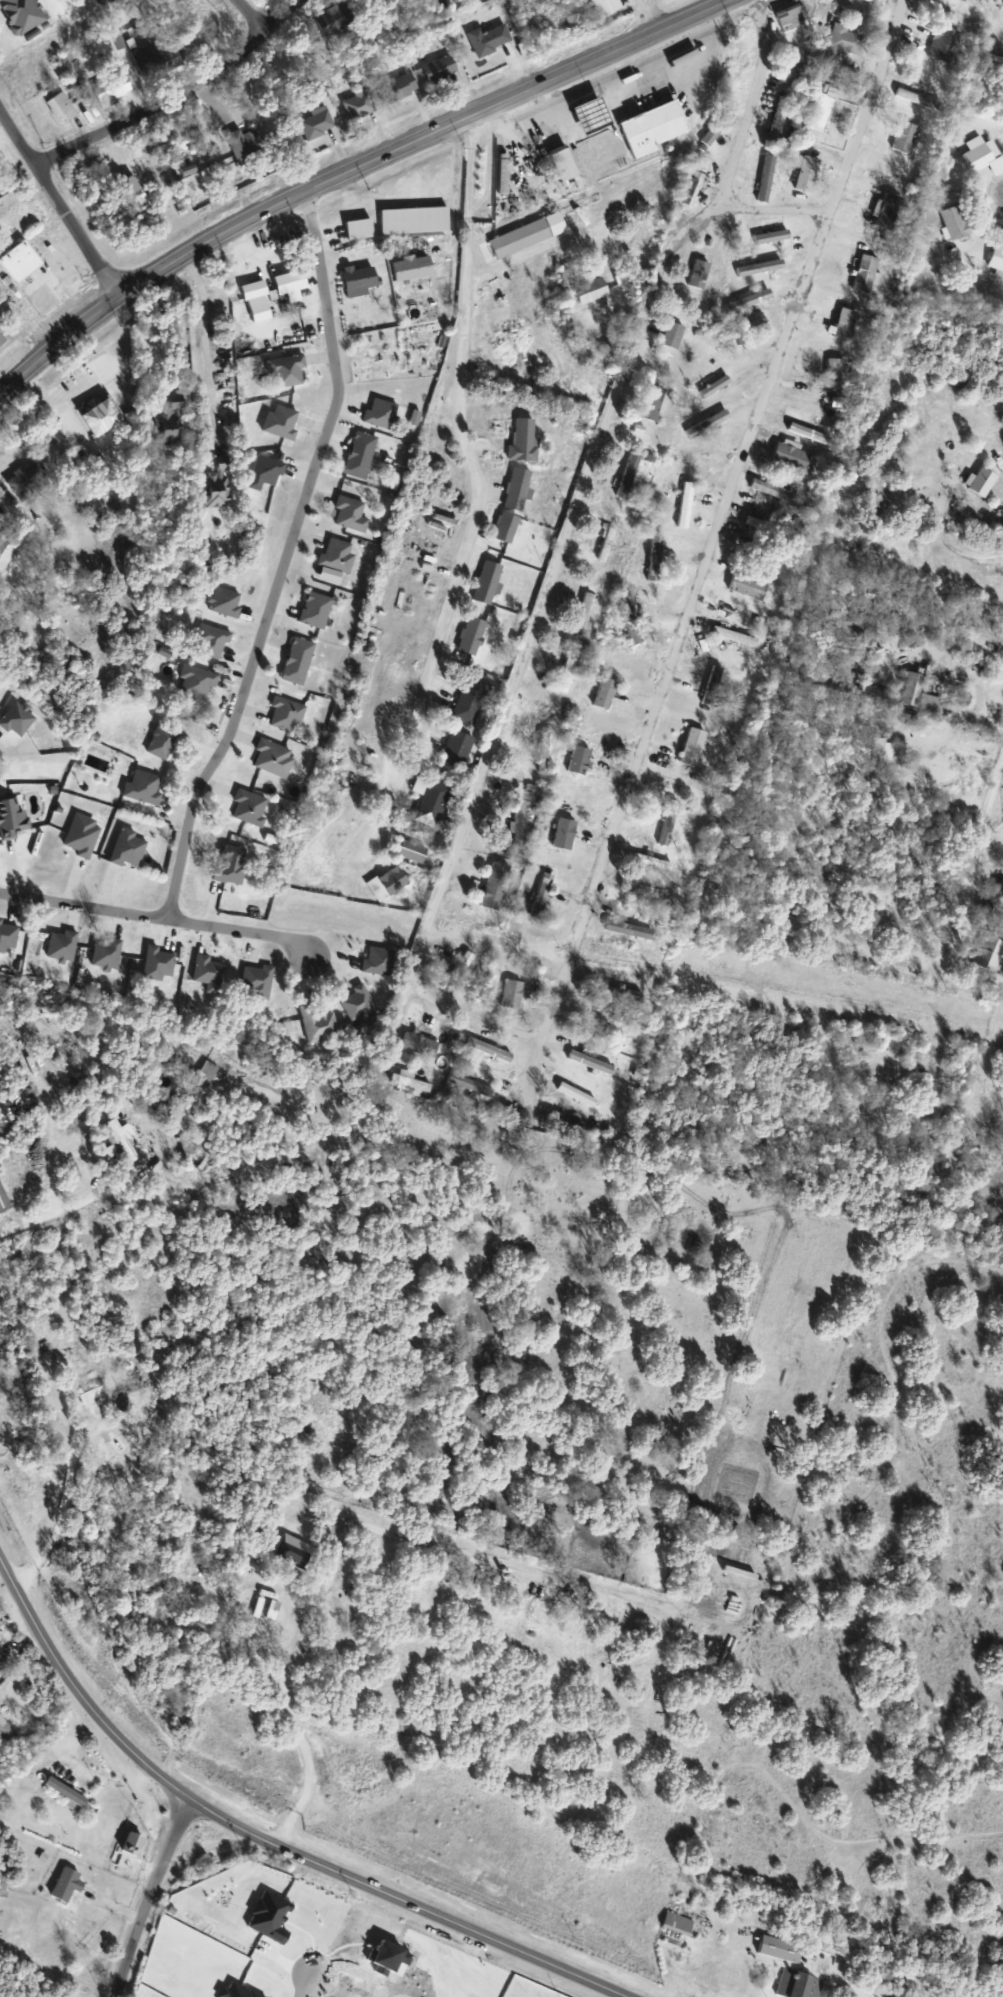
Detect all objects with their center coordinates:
building: (966, 0)
building: (608, 7)
road: (257, 12)
building: (24, 14)
building: (575, 14)
road: (643, 17)
building: (792, 18)
building: (337, 19)
building: (492, 40)
building: (838, 44)
building: (946, 44)
building: (742, 60)
building: (158, 62)
building: (794, 67)
building: (424, 77)
building: (113, 92)
road: (173, 95)
building: (917, 98)
building: (361, 105)
building: (61, 107)
building: (821, 112)
building: (782, 114)
building: (319, 123)
building: (655, 128)
building: (906, 140)
building: (249, 145)
building: (982, 154)
building: (566, 163)
road: (349, 170)
building: (809, 174)
building: (767, 178)
building: (695, 189)
building: (137, 194)
road: (57, 206)
road: (774, 213)
building: (957, 222)
building: (529, 235)
building: (773, 237)
road: (534, 250)
building: (998, 254)
road: (252, 256)
building: (21, 262)
road: (245, 264)
building: (761, 266)
building: (414, 267)
building: (701, 274)
building: (867, 274)
building: (362, 281)
building: (594, 291)
building: (750, 301)
building: (847, 324)
building: (742, 331)
road: (203, 333)
building: (674, 335)
building: (3, 340)
building: (288, 371)
building: (837, 373)
building: (569, 375)
building: (716, 387)
building: (178, 402)
building: (654, 403)
building: (382, 413)
building: (282, 422)
building: (709, 424)
building: (168, 429)
building: (809, 432)
building: (362, 454)
building: (792, 455)
building: (534, 458)
building: (269, 470)
building: (630, 476)
building: (30, 479)
road: (478, 481)
building: (219, 486)
building: (775, 490)
building: (689, 497)
road: (581, 500)
building: (876, 508)
building: (532, 509)
building: (352, 514)
building: (526, 539)
building: (607, 545)
road: (950, 547)
road: (713, 549)
building: (339, 555)
building: (655, 558)
road: (285, 560)
building: (507, 584)
building: (749, 586)
building: (226, 602)
road: (994, 606)
building: (317, 610)
building: (585, 610)
building: (630, 622)
building: (486, 628)
building: (857, 630)
road: (929, 631)
building: (736, 636)
building: (213, 642)
building: (300, 661)
building: (568, 673)
building: (199, 682)
building: (714, 686)
building: (607, 693)
building: (919, 694)
building: (471, 701)
building: (287, 715)
building: (20, 720)
building: (166, 743)
building: (694, 747)
building: (458, 748)
building: (544, 751)
building: (274, 758)
building: (580, 760)
building: (145, 788)
building: (431, 800)
building: (251, 808)
building: (13, 820)
building: (520, 823)
building: (670, 823)
road: (983, 827)
building: (566, 834)
building: (84, 835)
building: (130, 849)
building: (413, 852)
building: (650, 861)
building: (233, 865)
building: (389, 883)
building: (1001, 886)
building: (496, 887)
building: (645, 889)
building: (542, 896)
road: (156, 916)
building: (625, 929)
building: (9, 937)
road: (502, 938)
building: (64, 946)
building: (108, 953)
building: (380, 961)
building: (160, 965)
building: (462, 968)
building: (210, 973)
building: (259, 979)
building: (514, 995)
building: (361, 1005)
road: (473, 1017)
building: (320, 1024)
building: (421, 1045)
building: (490, 1050)
building: (592, 1062)
building: (472, 1085)
building: (566, 1121)
building: (125, 1139)
road: (65, 1205)
building: (104, 1244)
building: (42, 1354)
building: (98, 1393)
building: (116, 1459)
road: (351, 1521)
building: (275, 1610)
building: (207, 1623)
road: (19, 1624)
building: (4, 1665)
building: (5, 1730)
road: (104, 1778)
road: (264, 1832)
building: (135, 1843)
building: (68, 1885)
road: (155, 1895)
building: (680, 1923)
building: (784, 1948)
road: (461, 1962)
road: (306, 1981)
building: (801, 1984)

